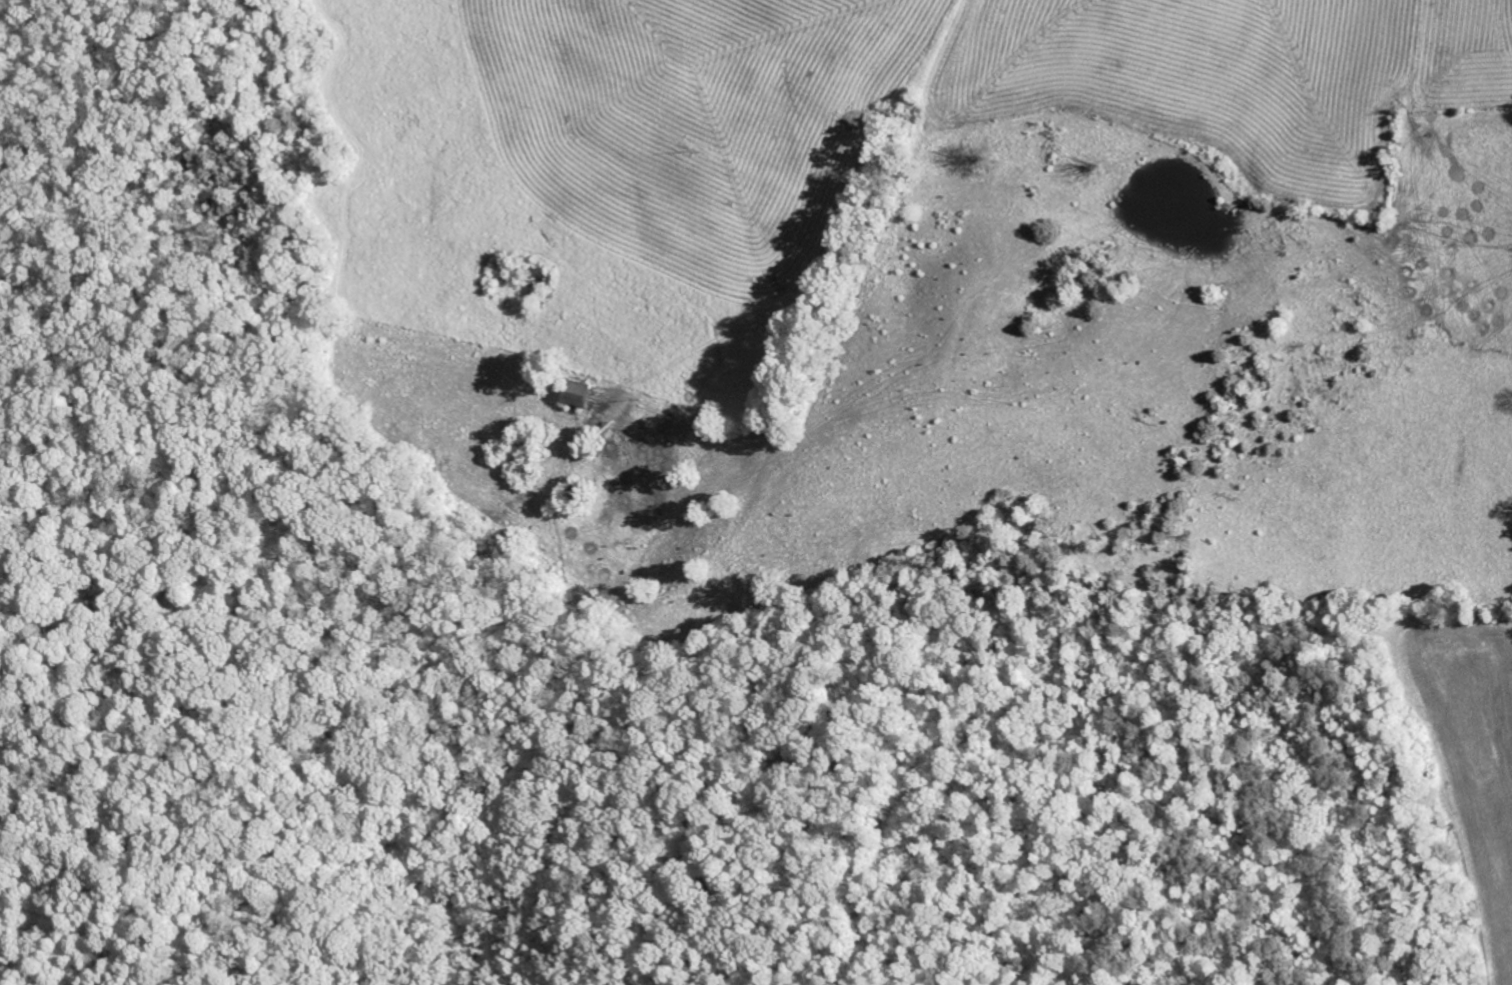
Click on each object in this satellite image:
building: (576, 395)

